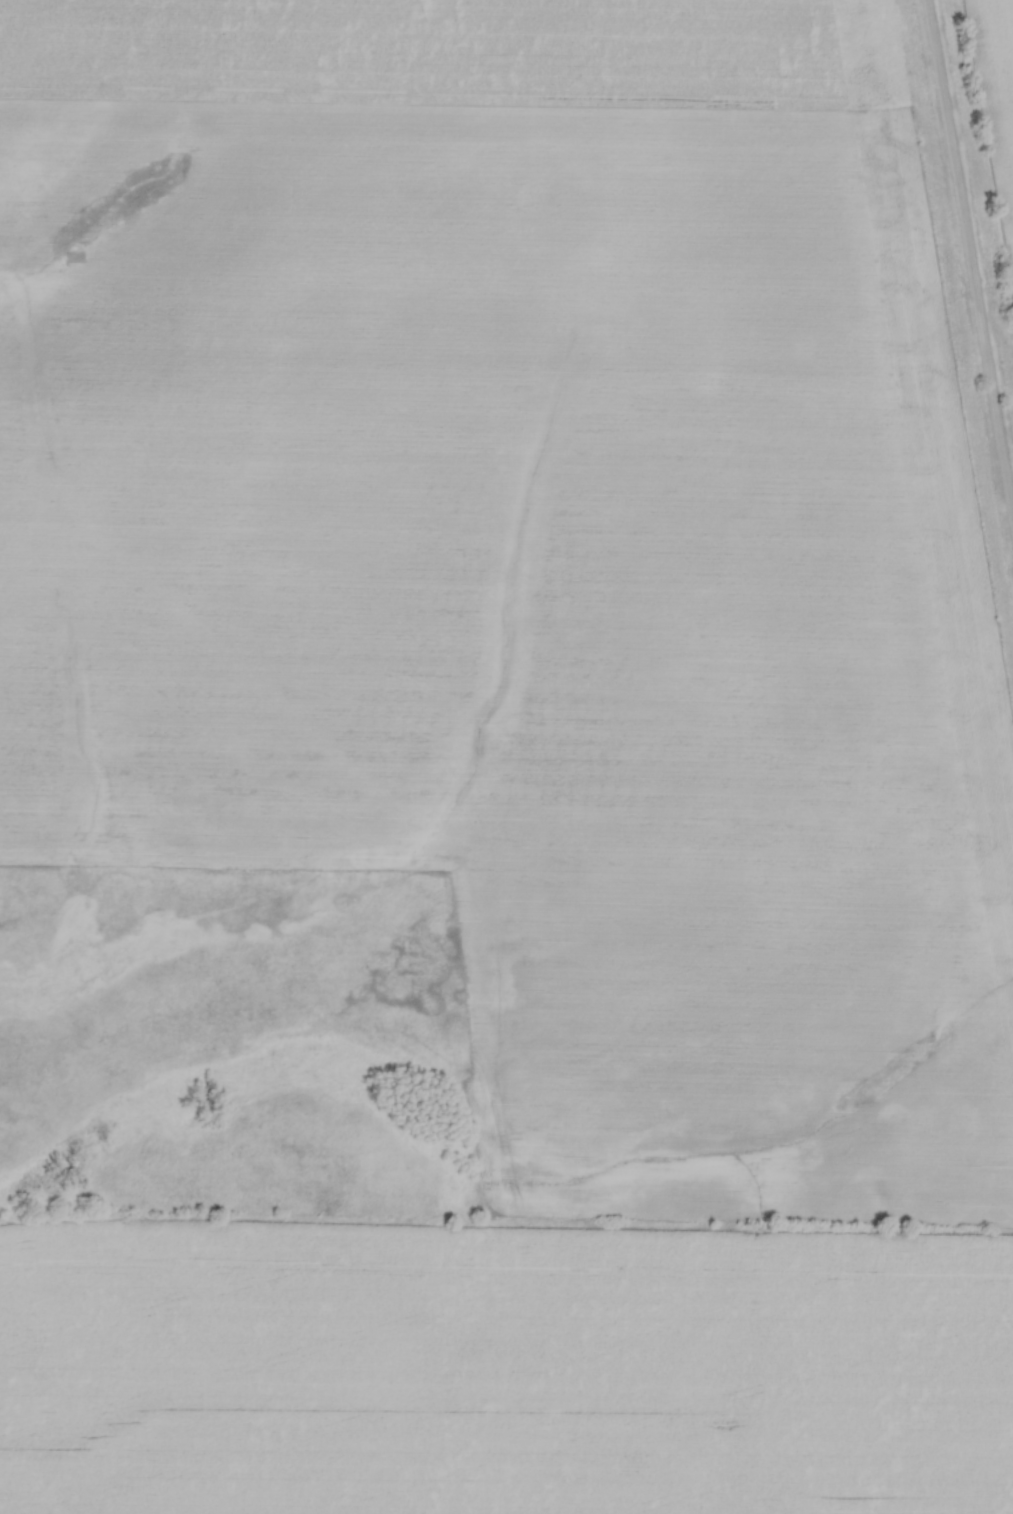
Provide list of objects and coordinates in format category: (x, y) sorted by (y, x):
crop: (997, 96)
road: (967, 272)

